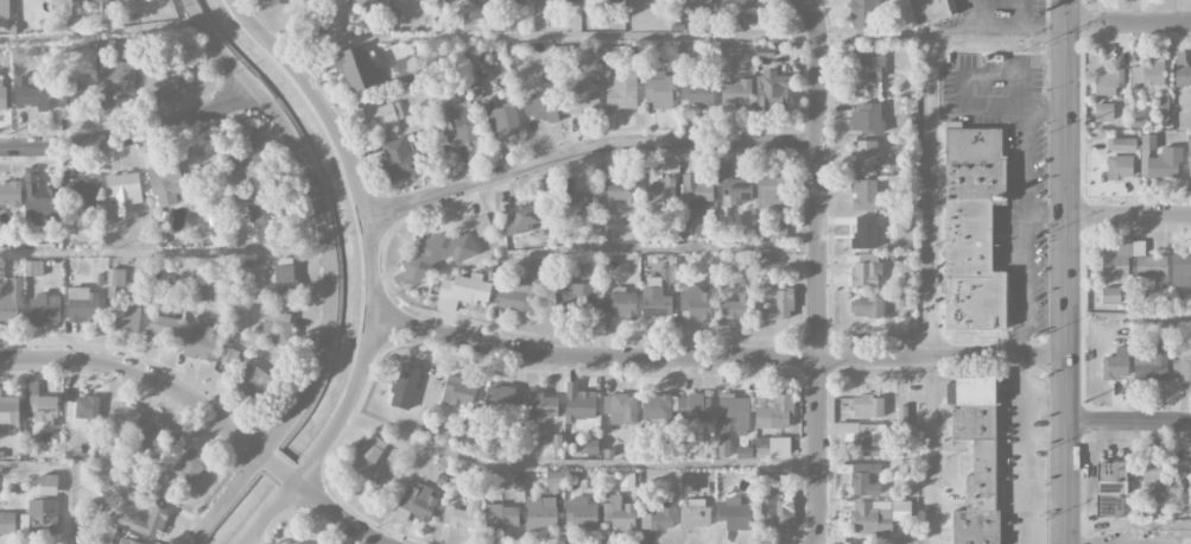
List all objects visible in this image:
building: (107, 0)
building: (568, 0)
building: (646, 0)
building: (286, 1)
building: (508, 1)
building: (692, 1)
building: (369, 2)
building: (747, 4)
building: (4, 8)
building: (81, 8)
building: (923, 10)
building: (864, 14)
road: (1024, 14)
building: (474, 17)
traffic signals: (1064, 20)
road: (1127, 20)
building: (106, 45)
building: (612, 56)
building: (867, 63)
building: (405, 68)
building: (357, 69)
building: (1148, 75)
building: (1183, 75)
building: (116, 77)
building: (165, 80)
building: (1108, 81)
building: (658, 89)
building: (772, 89)
building: (1, 90)
building: (31, 93)
building: (621, 94)
building: (736, 94)
building: (697, 95)
building: (68, 96)
building: (585, 100)
building: (103, 102)
building: (540, 107)
building: (1161, 109)
building: (1103, 112)
building: (381, 113)
building: (866, 119)
building: (502, 120)
building: (457, 124)
power tower: (1083, 124)
road: (133, 135)
building: (1147, 144)
building: (1121, 145)
road: (587, 148)
building: (863, 156)
building: (399, 158)
building: (1190, 158)
road: (1025, 162)
building: (1165, 164)
building: (251, 167)
building: (1119, 167)
building: (734, 188)
building: (622, 190)
building: (659, 190)
building: (123, 191)
building: (695, 191)
building: (11, 194)
building: (771, 194)
building: (864, 195)
building: (81, 197)
building: (39, 198)
building: (577, 205)
road: (1128, 214)
road: (323, 217)
building: (265, 219)
building: (521, 219)
building: (482, 224)
road: (932, 224)
building: (974, 227)
building: (606, 228)
road: (369, 229)
building: (771, 232)
building: (864, 232)
building: (438, 254)
building: (1151, 266)
building: (33, 268)
road: (817, 270)
building: (863, 270)
building: (1180, 270)
building: (590, 271)
road: (1065, 271)
building: (115, 277)
building: (280, 280)
road: (1020, 284)
building: (198, 290)
building: (462, 291)
building: (1110, 295)
building: (515, 296)
building: (576, 297)
building: (902, 298)
building: (654, 299)
building: (12, 301)
building: (619, 302)
building: (696, 303)
building: (82, 305)
building: (780, 305)
building: (735, 306)
building: (866, 308)
building: (44, 309)
building: (126, 320)
building: (161, 325)
building: (278, 327)
building: (198, 343)
road: (715, 356)
building: (228, 359)
building: (1149, 363)
building: (1115, 365)
building: (1183, 368)
road: (147, 375)
building: (254, 384)
building: (403, 391)
building: (458, 391)
building: (499, 399)
building: (578, 403)
power tower: (1084, 404)
building: (541, 405)
building: (42, 406)
building: (868, 406)
building: (655, 407)
building: (695, 407)
building: (620, 409)
building: (773, 410)
building: (82, 412)
building: (9, 413)
building: (123, 418)
road: (1128, 422)
building: (741, 426)
building: (468, 434)
building: (866, 439)
building: (158, 441)
building: (591, 447)
building: (779, 448)
building: (976, 455)
building: (368, 457)
building: (190, 466)
building: (860, 467)
road: (277, 468)
building: (1153, 469)
building: (1180, 472)
building: (553, 481)
building: (767, 483)
building: (46, 485)
building: (863, 485)
building: (1110, 489)
road: (227, 499)
building: (416, 505)
road: (331, 511)
road: (268, 512)
building: (619, 512)
building: (462, 513)
building: (540, 513)
building: (693, 513)
building: (581, 514)
building: (657, 514)
building: (734, 514)
building: (501, 517)
building: (870, 517)
building: (42, 518)
building: (779, 518)
building: (151, 523)
building: (7, 524)
building: (101, 533)
building: (127, 542)

